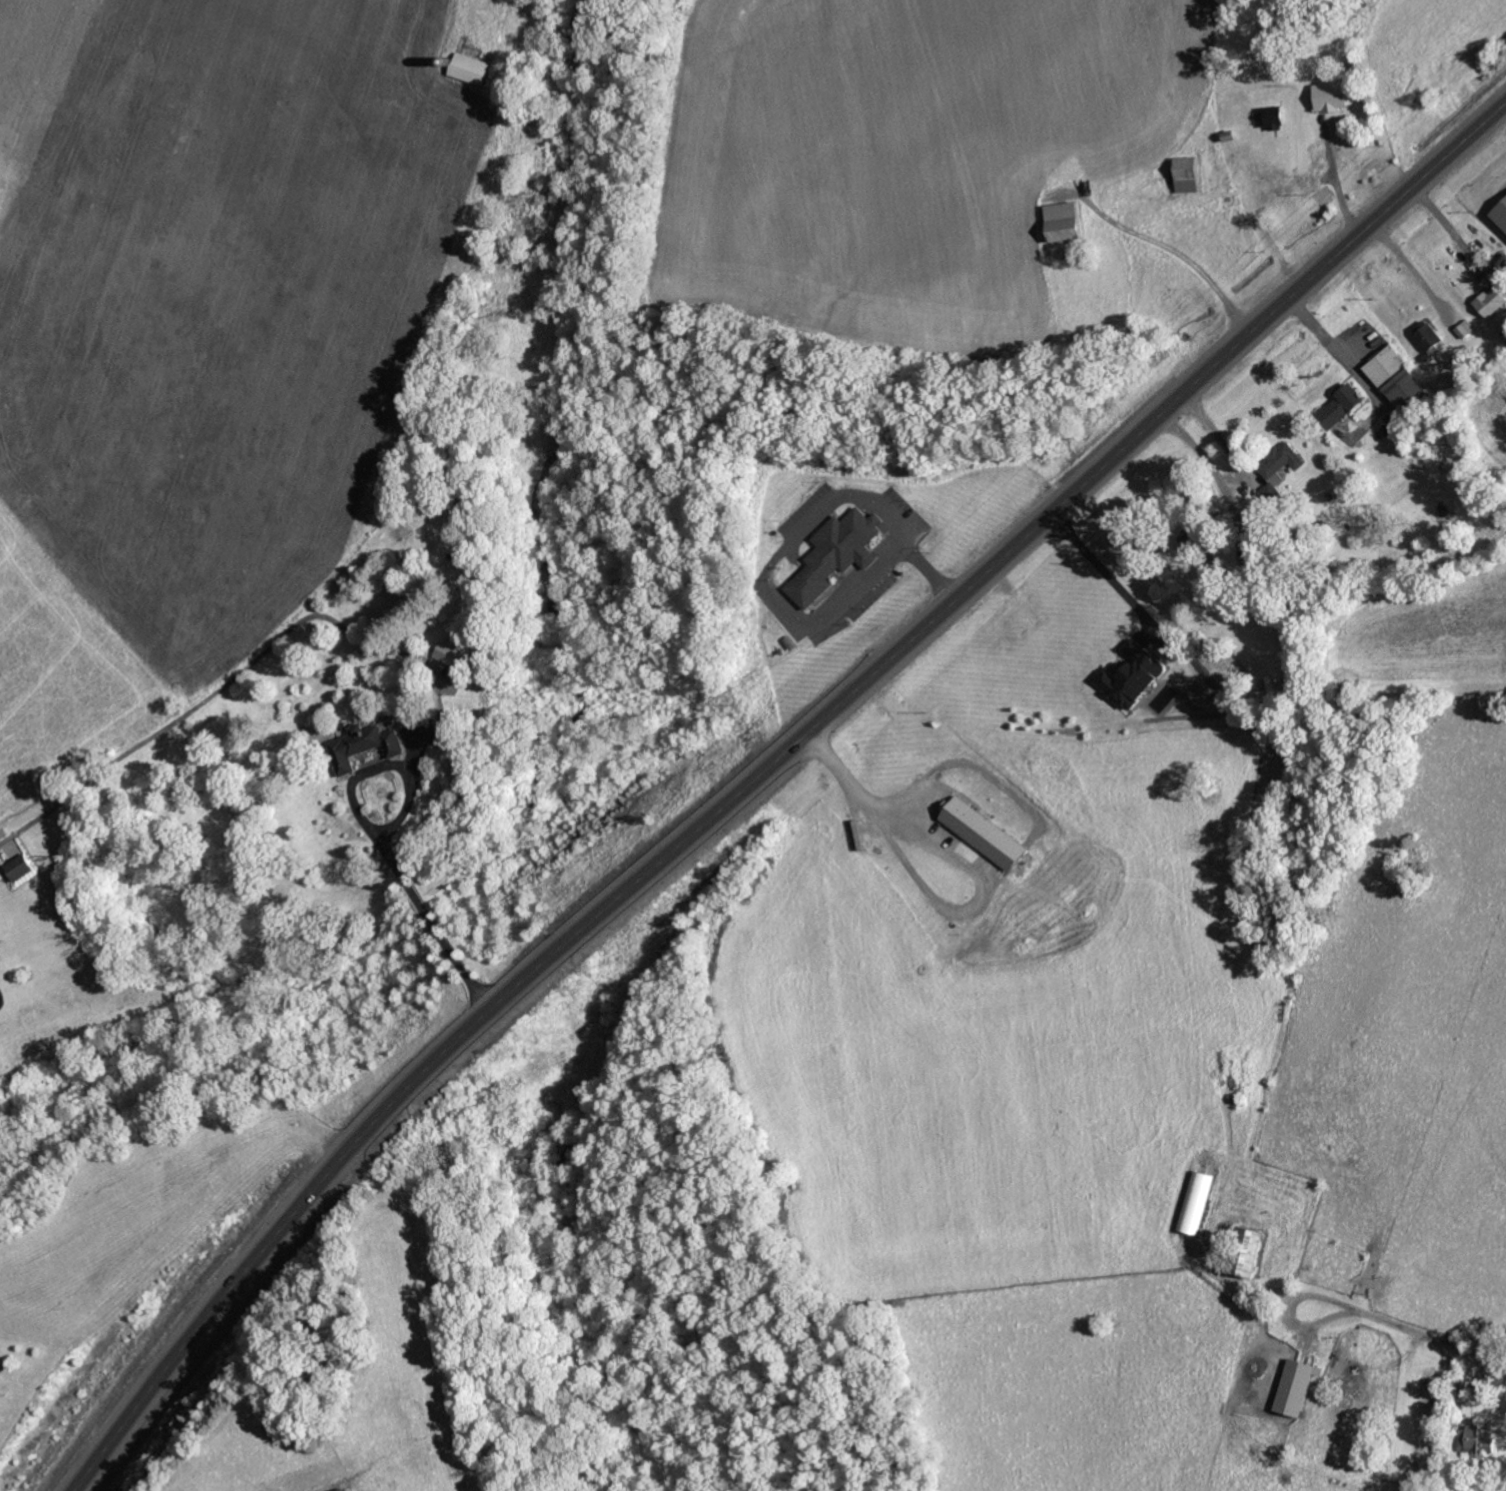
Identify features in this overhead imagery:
building: (471, 67)
building: (1333, 93)
building: (1271, 117)
building: (1189, 173)
building: (1502, 213)
building: (1067, 220)
building: (1492, 300)
building: (1431, 336)
building: (1399, 380)
building: (1343, 406)
building: (1292, 455)
building: (836, 553)
building: (454, 654)
building: (1134, 676)
building: (363, 745)
road: (366, 769)
road: (761, 773)
road: (858, 805)
building: (985, 834)
building: (22, 866)
road: (440, 925)
building: (1195, 1202)
building: (1255, 1253)
building: (1299, 1385)
building: (345, 1489)

